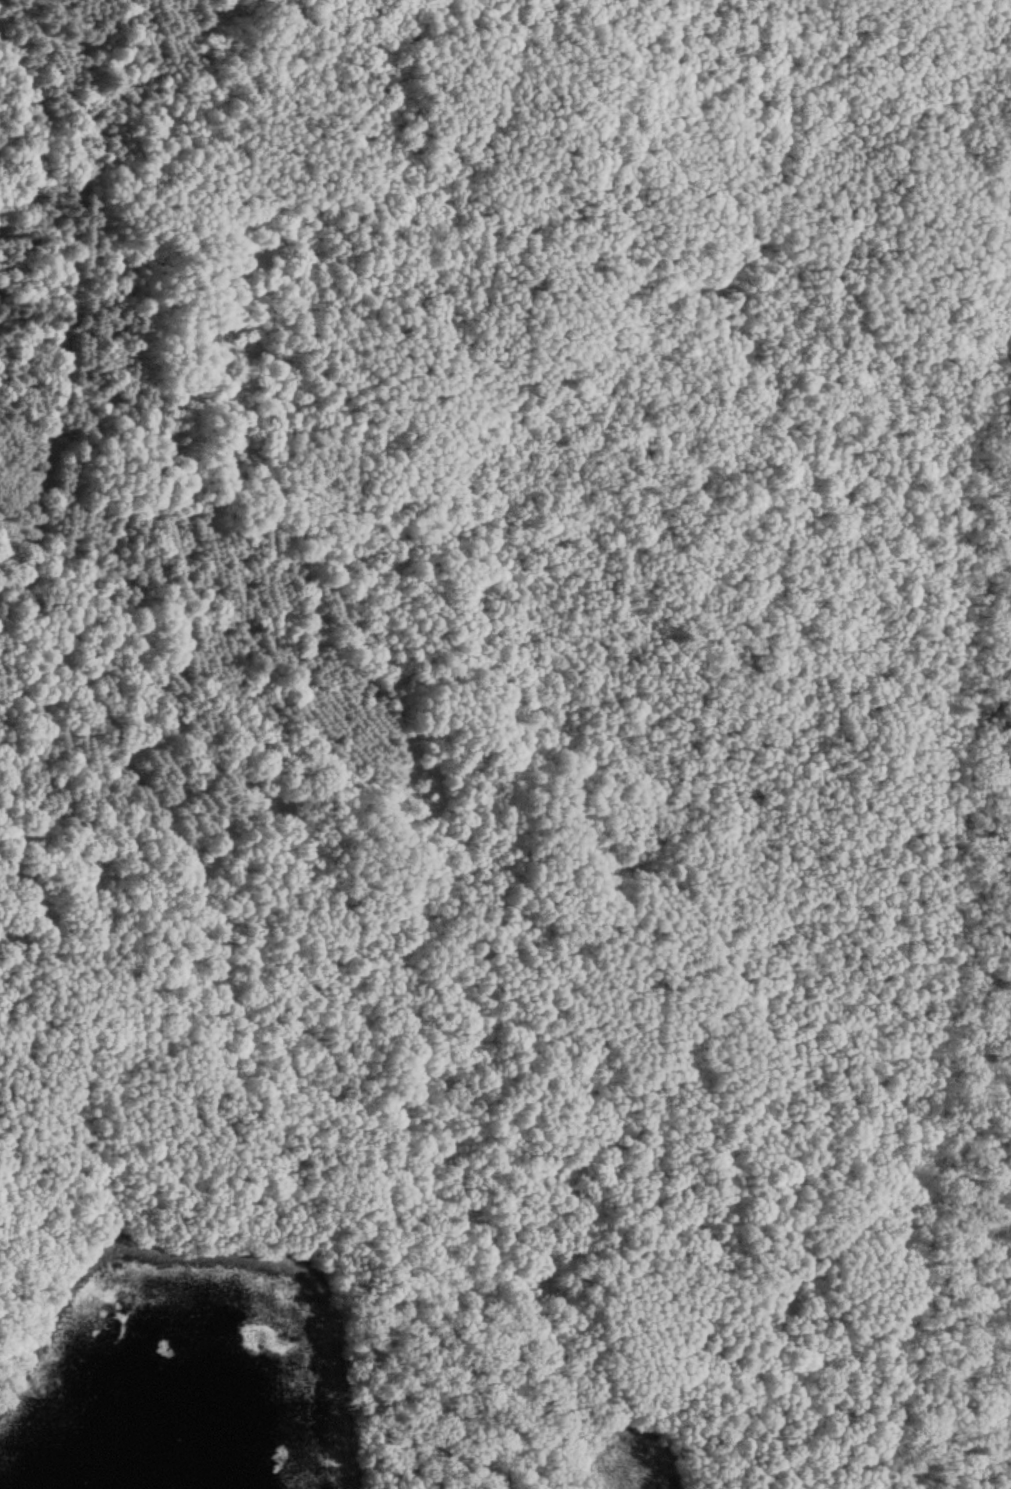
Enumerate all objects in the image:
road: (142, 780)

